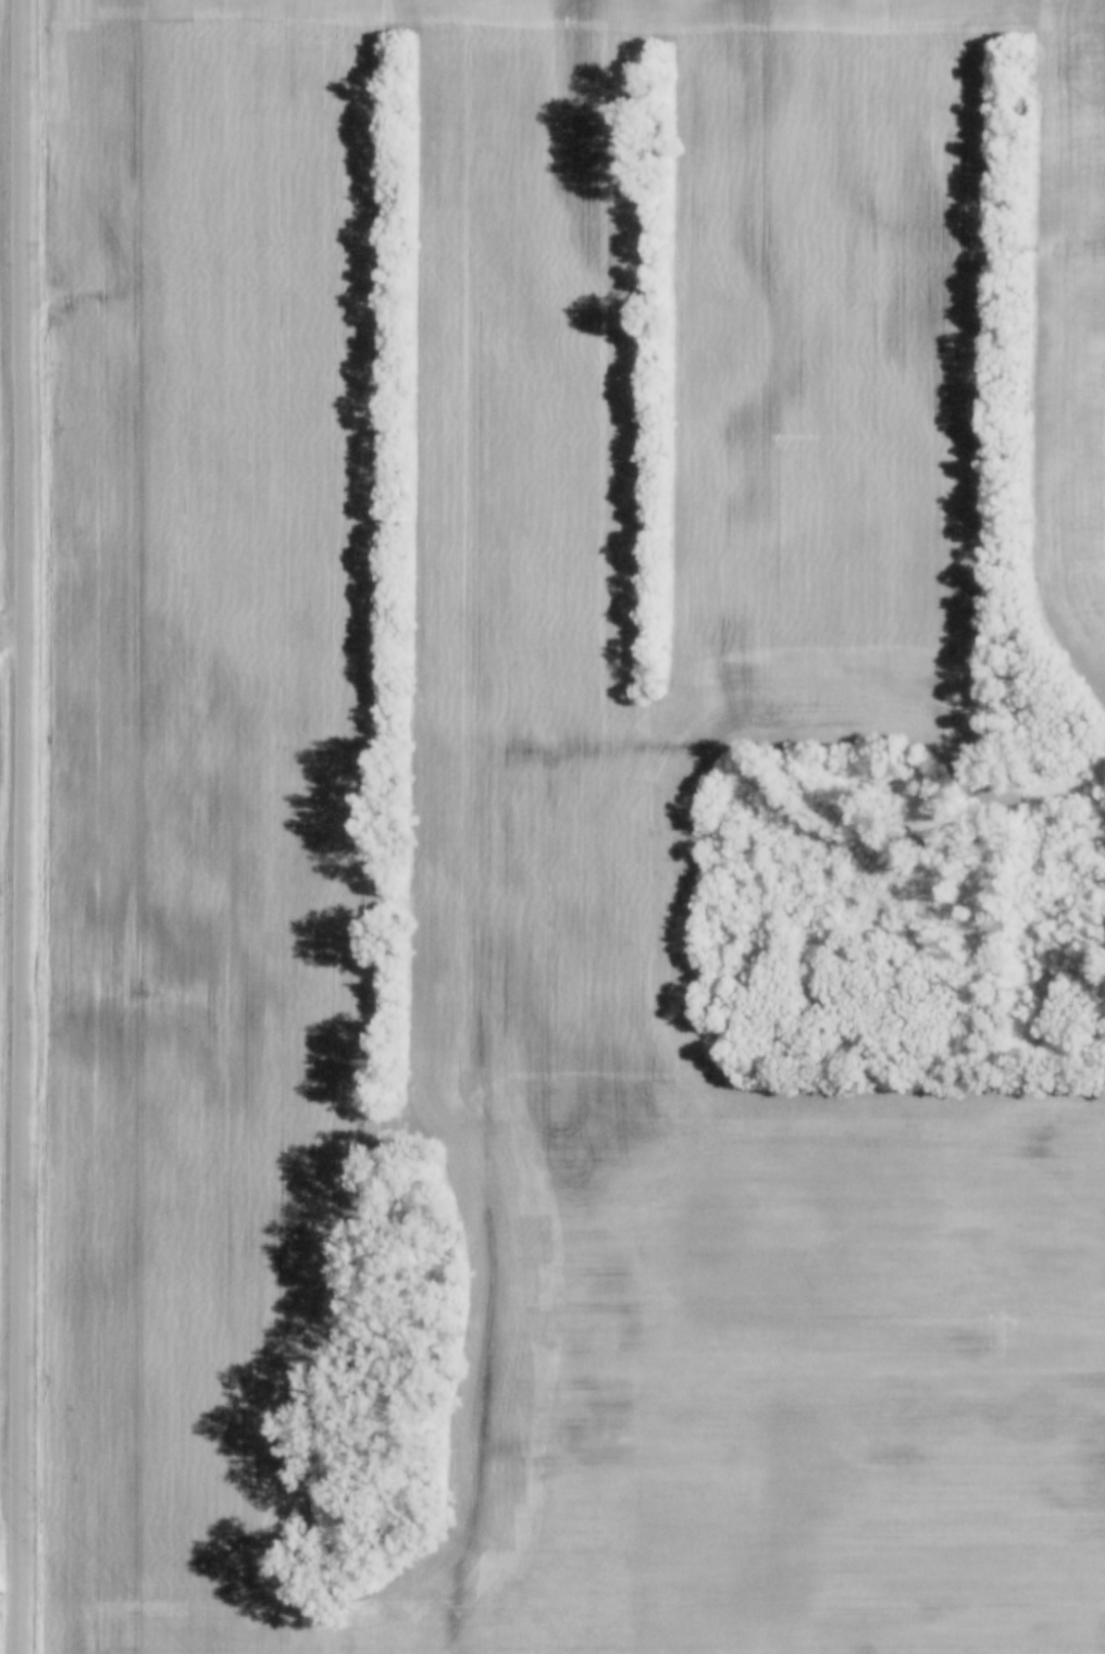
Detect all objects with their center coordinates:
road: (23, 826)

